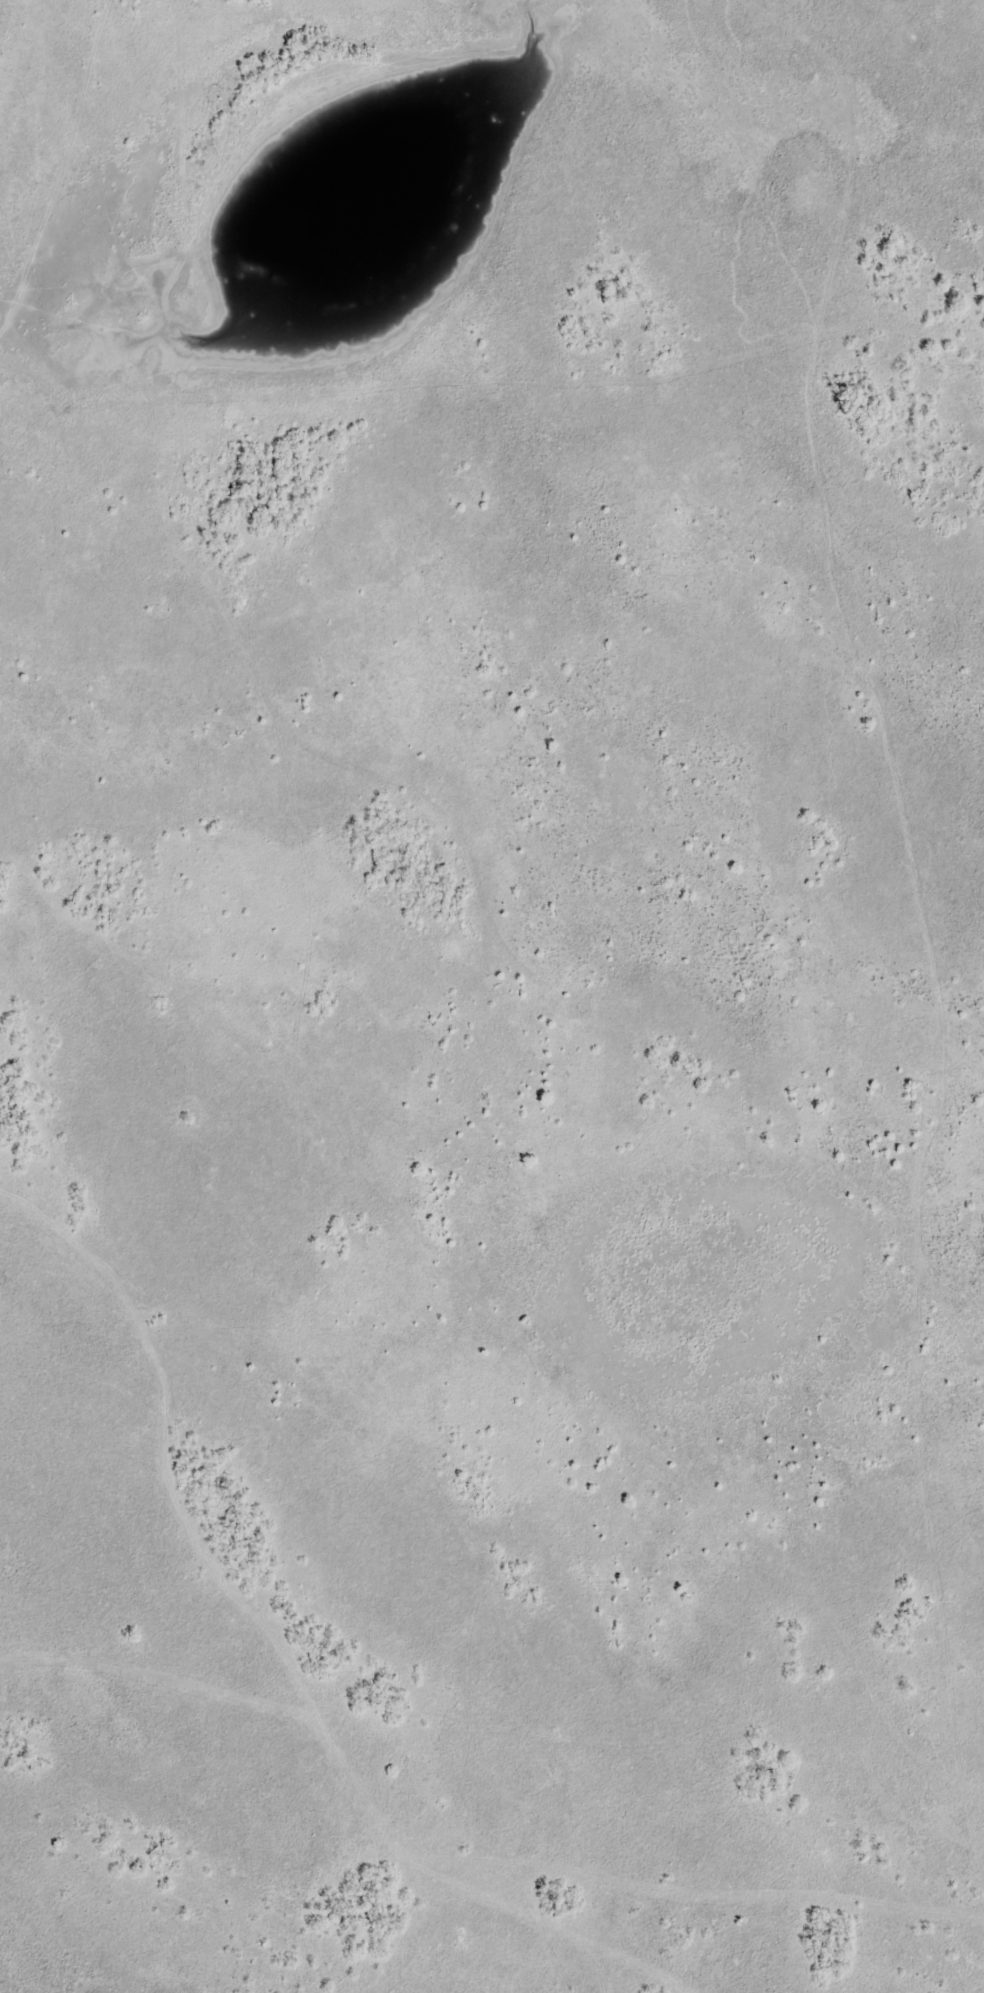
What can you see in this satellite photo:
road: (143, 114)

